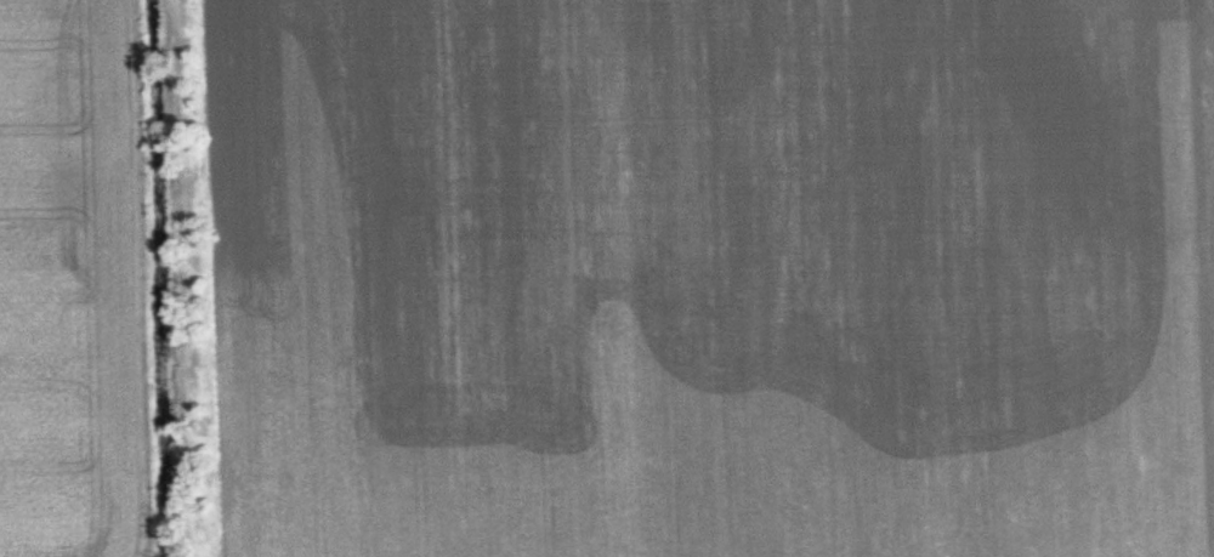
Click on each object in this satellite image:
road: (132, 278)

